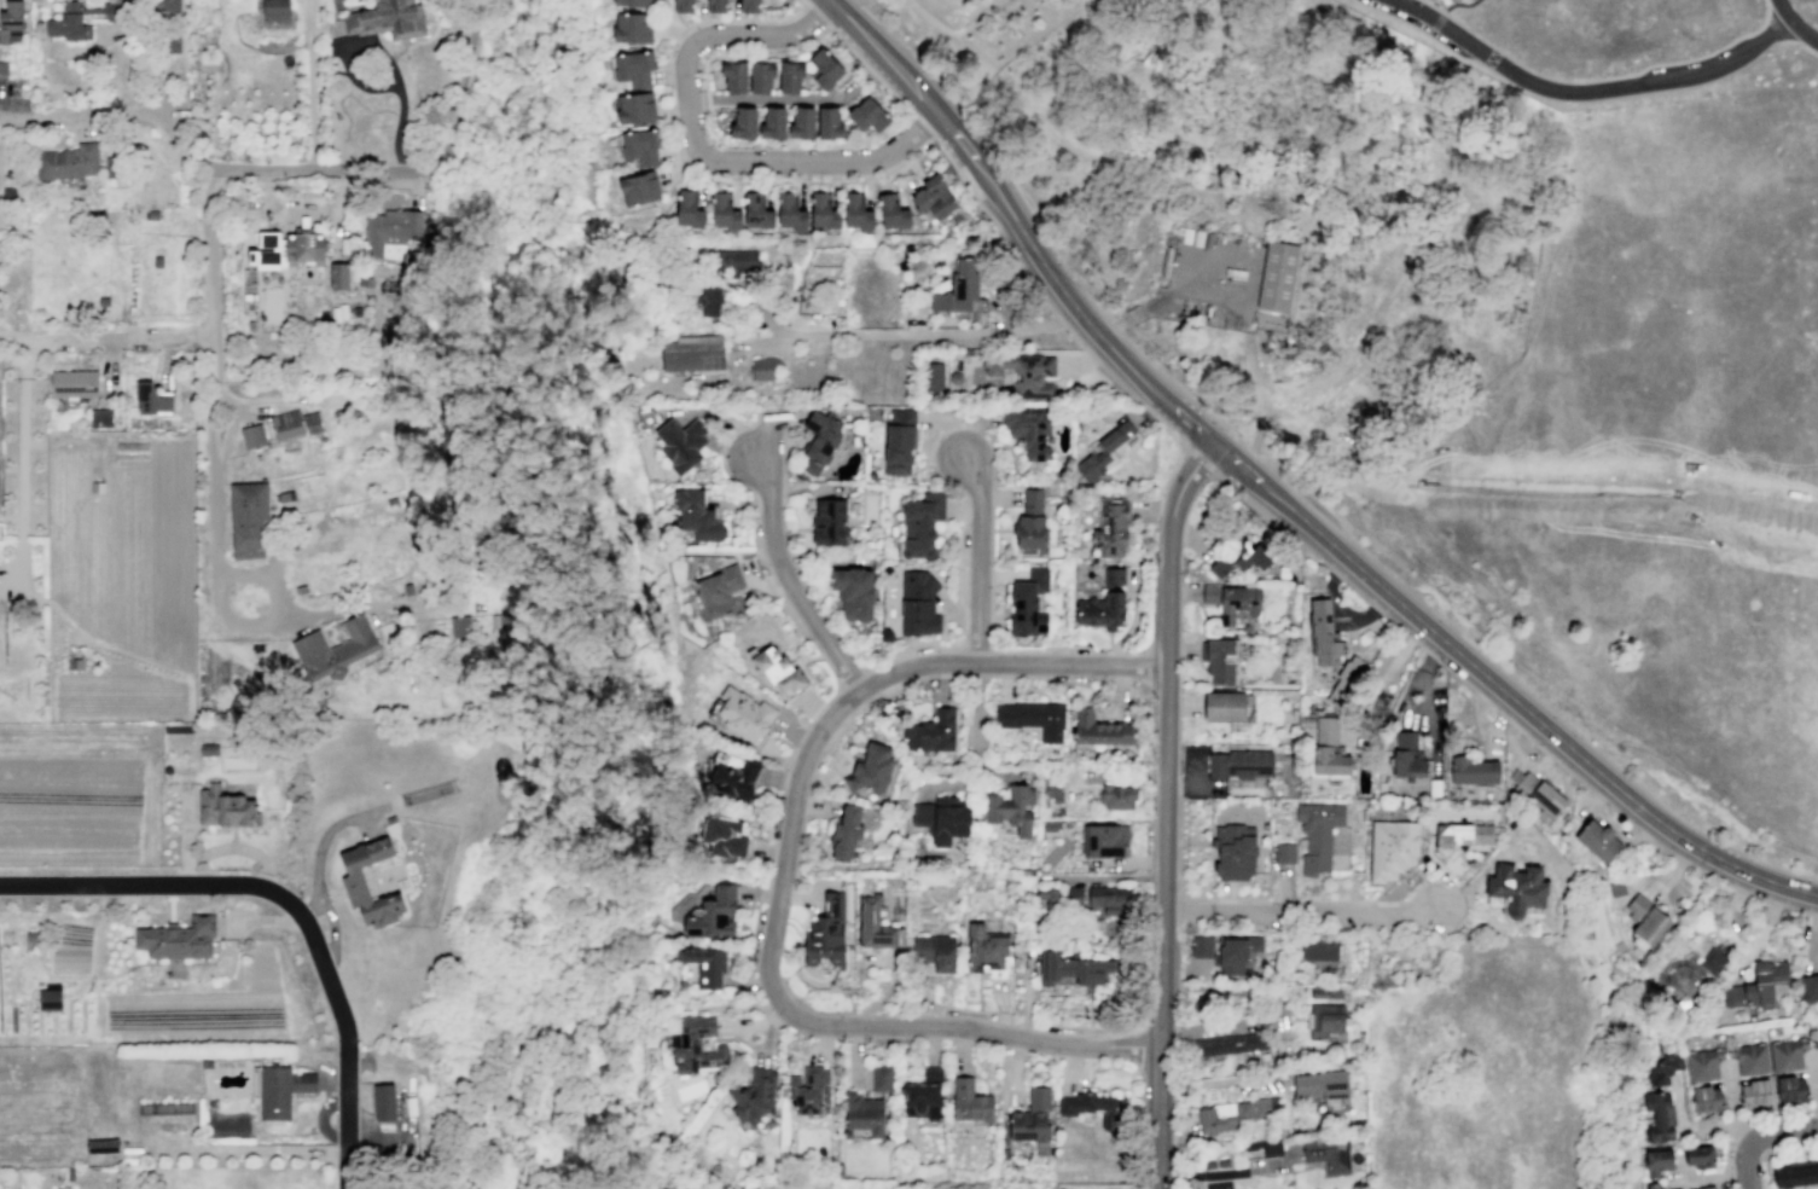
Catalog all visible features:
road: (1470, 1)
building: (633, 2)
road: (484, 4)
road: (1458, 4)
building: (165, 5)
road: (1431, 5)
building: (683, 6)
building: (715, 6)
building: (749, 6)
road: (1782, 8)
building: (274, 11)
road: (304, 11)
road: (991, 11)
road: (310, 12)
road: (815, 16)
road: (1440, 17)
road: (748, 18)
building: (79, 19)
building: (387, 19)
building: (11, 22)
road: (672, 24)
building: (632, 27)
road: (1775, 28)
road: (1801, 31)
road: (679, 33)
building: (170, 41)
road: (1788, 42)
road: (813, 43)
road: (382, 52)
road: (1209, 56)
road: (1111, 65)
building: (824, 68)
road: (1187, 68)
building: (2, 69)
building: (632, 69)
building: (733, 76)
building: (760, 76)
building: (790, 76)
road: (1611, 77)
road: (1588, 91)
road: (162, 92)
road: (310, 97)
road: (708, 99)
road: (772, 99)
road: (1033, 103)
building: (635, 108)
building: (867, 115)
building: (743, 122)
building: (801, 122)
building: (772, 123)
building: (829, 123)
road: (920, 126)
road: (1184, 141)
road: (802, 144)
building: (639, 146)
road: (697, 147)
road: (1132, 150)
building: (66, 162)
building: (110, 167)
road: (1171, 167)
road: (289, 169)
road: (853, 181)
road: (993, 186)
building: (638, 188)
building: (935, 196)
road: (1332, 205)
building: (856, 208)
building: (689, 209)
building: (756, 209)
building: (790, 209)
building: (824, 209)
building: (894, 209)
road: (304, 210)
building: (724, 210)
building: (151, 214)
building: (389, 228)
road: (335, 231)
road: (1442, 232)
building: (303, 248)
building: (268, 251)
building: (157, 261)
building: (731, 261)
building: (338, 275)
building: (1278, 279)
building: (361, 282)
building: (368, 282)
building: (958, 288)
building: (709, 300)
road: (1241, 300)
road: (1001, 307)
building: (342, 311)
building: (355, 311)
building: (335, 314)
road: (760, 314)
road: (1058, 319)
building: (250, 326)
road: (918, 333)
road: (19, 335)
road: (80, 337)
building: (692, 353)
building: (765, 367)
building: (1023, 372)
road: (1337, 372)
building: (934, 375)
building: (74, 383)
road: (1123, 388)
building: (151, 399)
road: (275, 399)
road: (1183, 411)
building: (100, 417)
road: (230, 419)
building: (312, 422)
building: (286, 424)
road: (949, 427)
road: (948, 429)
building: (1028, 430)
building: (251, 436)
building: (818, 441)
building: (899, 441)
road: (34, 443)
building: (680, 443)
building: (1103, 451)
road: (756, 458)
road: (1201, 460)
road: (1236, 462)
road: (1299, 482)
building: (284, 497)
building: (1032, 501)
road: (213, 506)
road: (966, 511)
road: (1291, 514)
building: (697, 515)
road: (1, 517)
road: (12, 518)
building: (248, 518)
building: (829, 522)
road: (1267, 522)
building: (920, 524)
building: (1111, 526)
building: (1028, 532)
crop: (123, 539)
road: (981, 558)
building: (1238, 558)
road: (782, 565)
road: (1334, 572)
building: (1038, 578)
road: (1354, 588)
building: (300, 590)
building: (719, 591)
building: (853, 592)
building: (1231, 599)
building: (1103, 602)
building: (917, 603)
road: (1375, 607)
road: (818, 608)
road: (1341, 608)
road: (348, 609)
building: (1024, 610)
road: (954, 615)
building: (503, 620)
road: (965, 620)
road: (1133, 620)
road: (1394, 623)
building: (459, 626)
building: (1323, 632)
road: (1410, 637)
road: (806, 638)
road: (1053, 645)
road: (1419, 645)
building: (333, 648)
road: (976, 649)
road: (1431, 656)
building: (1219, 660)
building: (75, 663)
road: (1149, 665)
building: (777, 668)
road: (974, 675)
road: (1384, 677)
road: (852, 678)
road: (1121, 678)
road: (1419, 678)
road: (1144, 680)
road: (871, 681)
road: (1046, 681)
building: (1343, 681)
road: (1120, 689)
crop: (117, 696)
road: (847, 697)
road: (860, 704)
building: (1224, 704)
building: (740, 713)
road: (975, 715)
building: (1033, 718)
building: (1307, 720)
building: (1099, 729)
building: (931, 731)
road: (1562, 739)
building: (208, 749)
building: (1328, 749)
building: (1406, 755)
building: (1241, 764)
road: (1195, 766)
building: (871, 768)
building: (1473, 770)
road: (1000, 773)
building: (733, 779)
road: (1192, 784)
road: (948, 785)
road: (1178, 785)
building: (1539, 793)
road: (1595, 794)
crop: (81, 795)
building: (1117, 796)
building: (223, 807)
road: (803, 807)
road: (813, 807)
building: (1010, 808)
road: (1166, 808)
park: (644, 812)
building: (389, 819)
building: (942, 819)
building: (1047, 825)
building: (847, 831)
road: (187, 833)
building: (1317, 834)
building: (1460, 834)
building: (722, 836)
building: (1104, 840)
road: (321, 842)
building: (1596, 842)
road: (230, 848)
building: (1392, 848)
road: (797, 851)
building: (1235, 852)
building: (1284, 853)
road: (782, 875)
building: (353, 884)
building: (1616, 888)
building: (1516, 889)
road: (790, 893)
road: (759, 894)
road: (762, 894)
road: (1628, 894)
road: (809, 895)
building: (1047, 895)
building: (1075, 898)
building: (1109, 899)
road: (1239, 900)
road: (813, 904)
road: (1773, 904)
road: (290, 905)
road: (1799, 911)
building: (714, 913)
road: (1302, 916)
building: (1644, 920)
building: (873, 923)
road: (792, 927)
road: (331, 928)
road: (1762, 933)
building: (6, 935)
building: (825, 935)
building: (30, 936)
building: (178, 938)
road: (749, 945)
building: (1201, 946)
road: (1620, 947)
building: (984, 949)
building: (1319, 949)
building: (934, 953)
building: (1236, 953)
road: (1604, 953)
building: (705, 964)
building: (1073, 968)
building: (998, 973)
road: (806, 974)
building: (1686, 974)
road: (893, 981)
building: (1755, 986)
building: (1808, 987)
building: (1324, 991)
building: (50, 999)
road: (1027, 1000)
crop: (196, 1014)
road: (771, 1014)
crop: (43, 1015)
building: (1326, 1021)
road: (754, 1022)
road: (1021, 1025)
road: (1235, 1026)
road: (736, 1029)
building: (1813, 1039)
building: (1229, 1043)
building: (696, 1045)
road: (1143, 1050)
road: (854, 1051)
building: (1784, 1052)
road: (762, 1055)
building: (1748, 1056)
building: (1700, 1062)
building: (1662, 1067)
road: (1012, 1068)
building: (882, 1078)
road: (1232, 1081)
building: (1323, 1087)
building: (1788, 1087)
road: (1813, 1087)
building: (278, 1090)
building: (809, 1090)
building: (1752, 1091)
building: (923, 1095)
building: (754, 1096)
building: (1704, 1097)
building: (970, 1101)
building: (383, 1102)
building: (1091, 1107)
road: (1812, 1108)
road: (1775, 1113)
building: (1236, 1114)
building: (1656, 1115)
building: (861, 1116)
road: (320, 1119)
building: (1033, 1120)
road: (1140, 1124)
road: (1712, 1126)
road: (1737, 1129)
road: (1741, 1132)
road: (1759, 1136)
building: (101, 1145)
building: (1262, 1148)
road: (248, 1150)
road: (1725, 1153)
road: (1775, 1153)
building: (1328, 1155)
building: (1697, 1155)
building: (1655, 1161)
building: (1209, 1164)
building: (1222, 1164)
road: (1227, 1172)
building: (1795, 1173)
road: (1706, 1177)
road: (1726, 1177)
building: (1218, 1185)
building: (1651, 1185)
building: (1704, 1187)
road: (1726, 1187)

